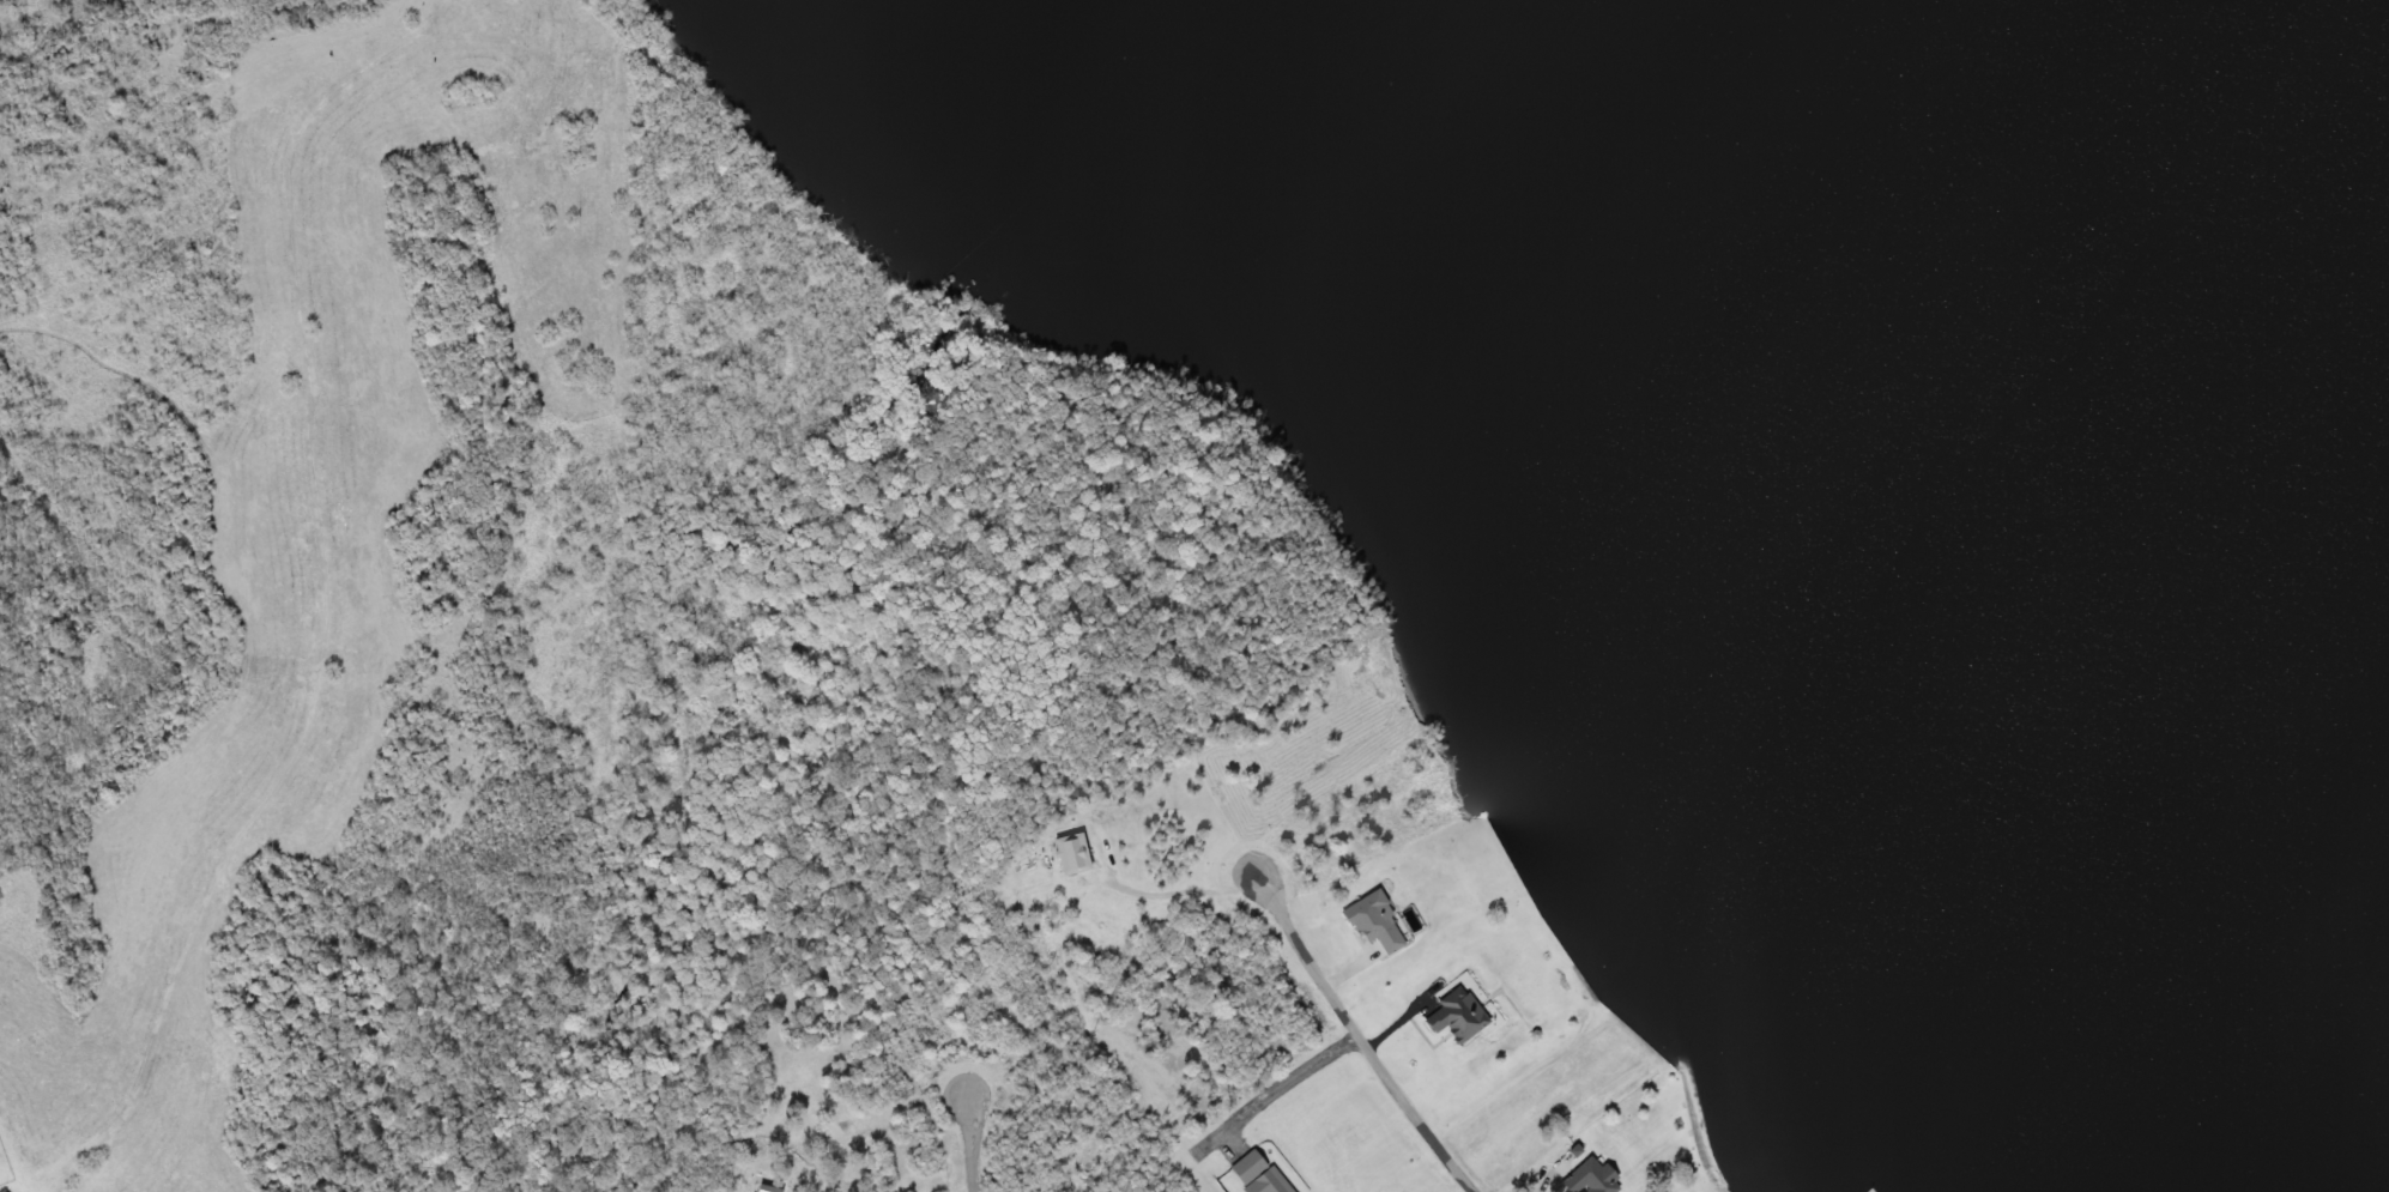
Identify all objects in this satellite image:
building: (1375, 922)
road: (1347, 973)
road: (1508, 1002)
building: (1459, 1012)
road: (1391, 1027)
road: (1359, 1042)
road: (1272, 1090)
road: (969, 1142)
building: (1260, 1175)
building: (1590, 1178)
road: (1544, 1181)
building: (766, 1185)
pier: (1870, 1191)

